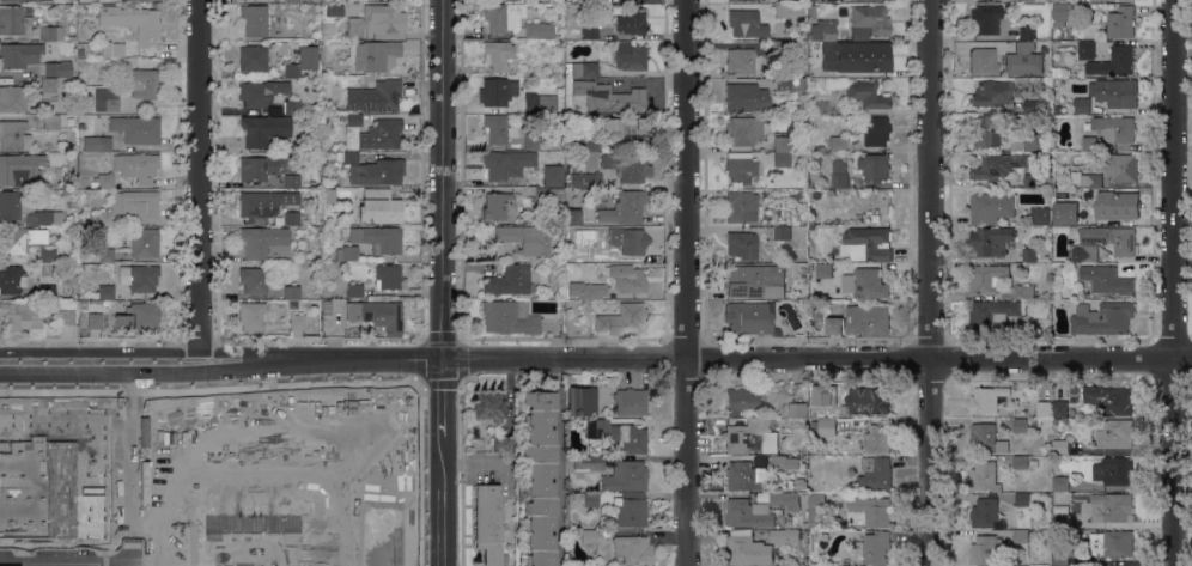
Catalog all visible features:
building: (19, 0)
building: (156, 0)
building: (749, 0)
building: (853, 0)
building: (1097, 0)
building: (292, 1)
building: (600, 1)
building: (785, 11)
building: (1064, 13)
building: (503, 16)
building: (254, 19)
building: (985, 19)
building: (13, 20)
building: (384, 20)
building: (631, 22)
building: (869, 22)
building: (134, 23)
building: (747, 23)
building: (1120, 23)
building: (354, 26)
building: (823, 29)
building: (539, 30)
building: (51, 32)
building: (590, 32)
building: (1026, 32)
building: (1068, 34)
building: (281, 48)
building: (779, 48)
building: (1024, 48)
building: (112, 49)
building: (1087, 50)
building: (80, 53)
building: (19, 54)
building: (498, 54)
building: (375, 55)
building: (858, 55)
building: (630, 56)
building: (253, 57)
building: (303, 61)
building: (740, 61)
building: (983, 61)
building: (1113, 62)
building: (1020, 65)
building: (59, 68)
building: (582, 69)
building: (1057, 72)
building: (522, 79)
building: (144, 83)
building: (782, 85)
building: (49, 87)
building: (497, 91)
building: (261, 92)
building: (990, 92)
building: (1115, 92)
building: (865, 95)
building: (746, 96)
building: (376, 97)
building: (13, 98)
building: (610, 98)
building: (96, 102)
building: (539, 102)
building: (110, 103)
building: (1082, 105)
building: (292, 106)
building: (822, 106)
building: (1030, 106)
building: (353, 120)
building: (51, 121)
building: (69, 121)
building: (498, 128)
building: (1115, 128)
building: (136, 129)
building: (263, 129)
building: (627, 130)
building: (747, 130)
building: (875, 130)
building: (990, 130)
building: (14, 134)
building: (378, 135)
building: (276, 141)
building: (531, 141)
building: (1027, 141)
building: (97, 144)
building: (585, 144)
building: (783, 144)
building: (838, 144)
building: (1089, 144)
building: (820, 148)
building: (348, 157)
building: (783, 159)
building: (814, 159)
building: (507, 163)
building: (999, 165)
building: (136, 166)
building: (268, 166)
building: (628, 166)
building: (875, 166)
building: (1121, 166)
building: (741, 168)
building: (20, 169)
building: (377, 172)
road: (200, 175)
building: (551, 175)
building: (839, 175)
building: (530, 178)
building: (592, 179)
building: (1087, 179)
building: (104, 181)
building: (292, 181)
building: (1030, 181)
building: (329, 195)
building: (799, 195)
building: (551, 197)
building: (264, 202)
building: (12, 205)
building: (379, 206)
building: (499, 206)
building: (1117, 206)
building: (128, 207)
building: (625, 207)
building: (741, 207)
building: (991, 207)
building: (1066, 213)
building: (1039, 215)
building: (572, 217)
building: (44, 218)
building: (292, 218)
building: (304, 221)
building: (782, 231)
building: (378, 238)
building: (522, 238)
building: (614, 238)
building: (1112, 238)
building: (633, 241)
building: (991, 241)
building: (20, 242)
building: (264, 242)
building: (145, 243)
building: (742, 244)
building: (862, 244)
building: (347, 252)
building: (1084, 254)
building: (48, 255)
building: (105, 255)
building: (596, 255)
building: (1029, 255)
building: (813, 266)
building: (823, 270)
building: (326, 273)
building: (139, 276)
building: (388, 276)
building: (986, 278)
building: (12, 279)
building: (254, 279)
building: (627, 279)
building: (509, 280)
building: (1107, 280)
building: (754, 281)
road: (442, 282)
road: (689, 282)
road: (932, 282)
road: (1174, 282)
building: (865, 284)
building: (354, 290)
building: (47, 292)
building: (105, 292)
building: (291, 292)
building: (590, 292)
building: (1022, 292)
building: (586, 303)
building: (992, 312)
building: (251, 315)
building: (377, 315)
building: (1028, 315)
building: (23, 317)
building: (66, 317)
building: (138, 317)
building: (510, 317)
building: (750, 318)
building: (868, 318)
building: (1102, 318)
building: (621, 319)
building: (93, 321)
building: (297, 322)
building: (833, 325)
building: (314, 329)
road: (184, 349)
road: (406, 359)
road: (816, 361)
road: (184, 373)
building: (816, 397)
building: (986, 398)
building: (1109, 400)
building: (741, 401)
building: (582, 402)
building: (631, 402)
building: (865, 402)
building: (488, 406)
building: (1044, 408)
building: (796, 409)
building: (1059, 409)
building: (1032, 421)
building: (784, 425)
building: (1020, 425)
building: (827, 426)
building: (1114, 434)
building: (619, 436)
building: (750, 437)
building: (986, 439)
building: (877, 440)
building: (503, 445)
building: (1059, 446)
building: (784, 462)
building: (1020, 462)
building: (1045, 462)
road: (472, 463)
building: (588, 463)
building: (1033, 463)
road: (127, 465)
building: (1112, 470)
building: (54, 473)
building: (748, 474)
building: (875, 474)
building: (626, 476)
building: (984, 476)
building: (539, 477)
building: (279, 480)
building: (1060, 483)
building: (762, 497)
building: (590, 499)
building: (1022, 499)
building: (785, 500)
building: (1112, 507)
building: (631, 510)
building: (816, 510)
building: (871, 510)
building: (1082, 511)
building: (748, 513)
building: (986, 515)
building: (1060, 517)
building: (487, 522)
building: (589, 536)
building: (784, 536)
building: (1021, 536)
building: (1111, 543)
building: (874, 547)
building: (631, 548)
building: (746, 548)
building: (987, 550)
building: (1059, 555)
road: (63, 558)
road: (282, 559)
building: (782, 565)

